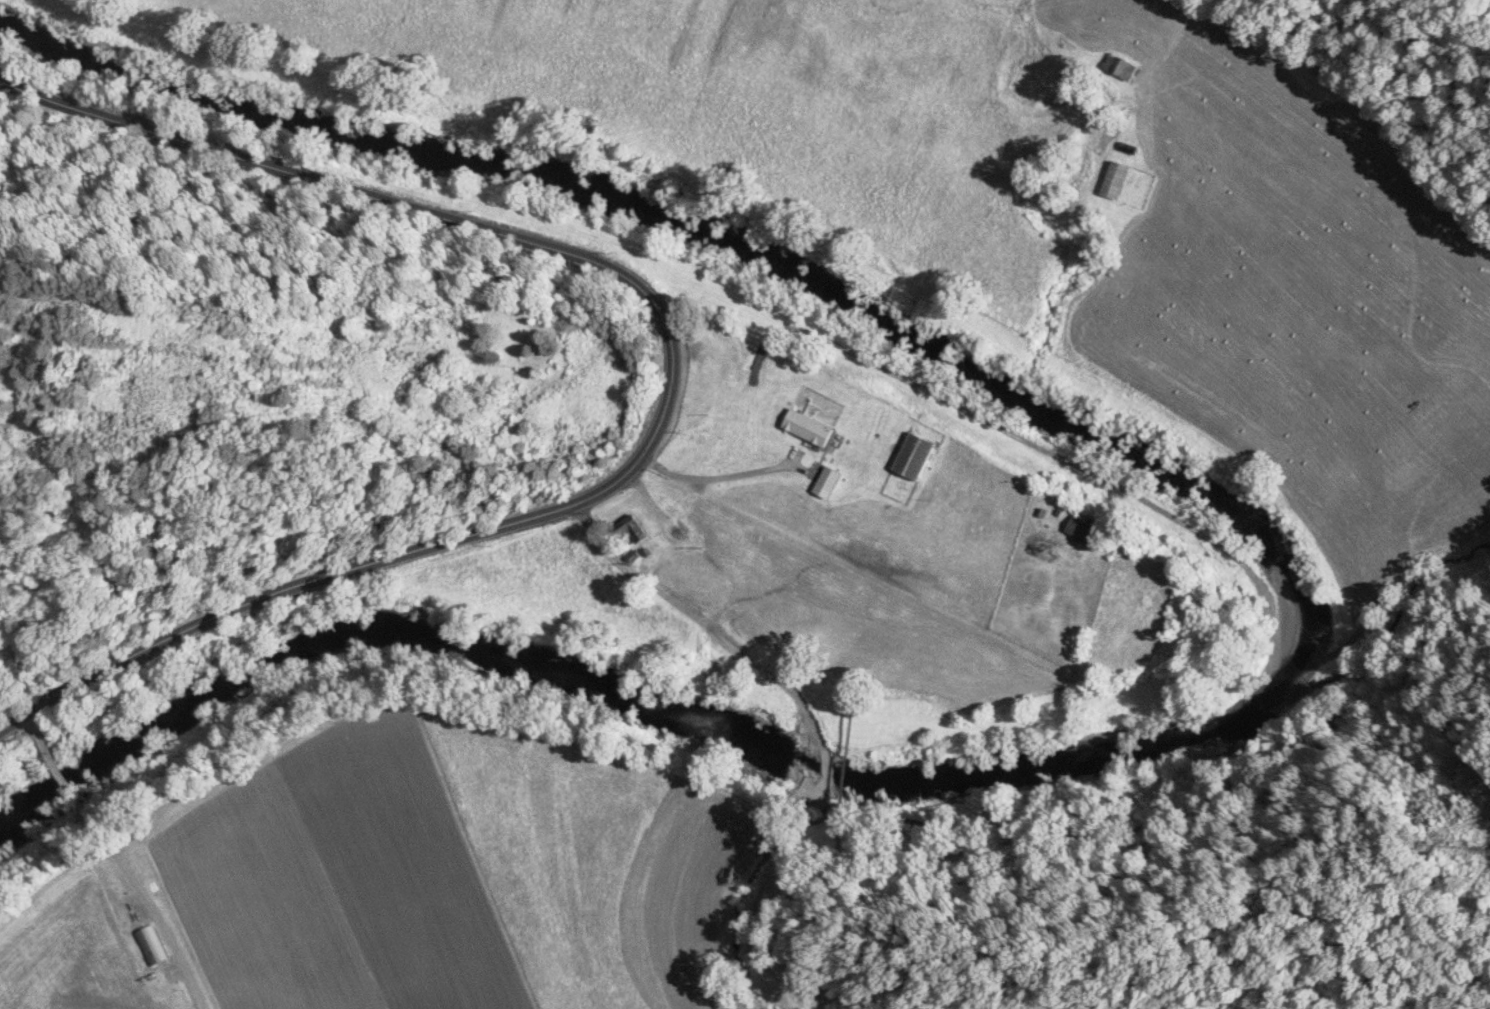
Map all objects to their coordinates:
building: (1121, 68)
building: (1118, 181)
road: (669, 382)
building: (812, 429)
building: (919, 459)
road: (674, 474)
building: (633, 532)
building: (1086, 533)
road: (681, 601)
river: (1311, 606)
building: (150, 947)

